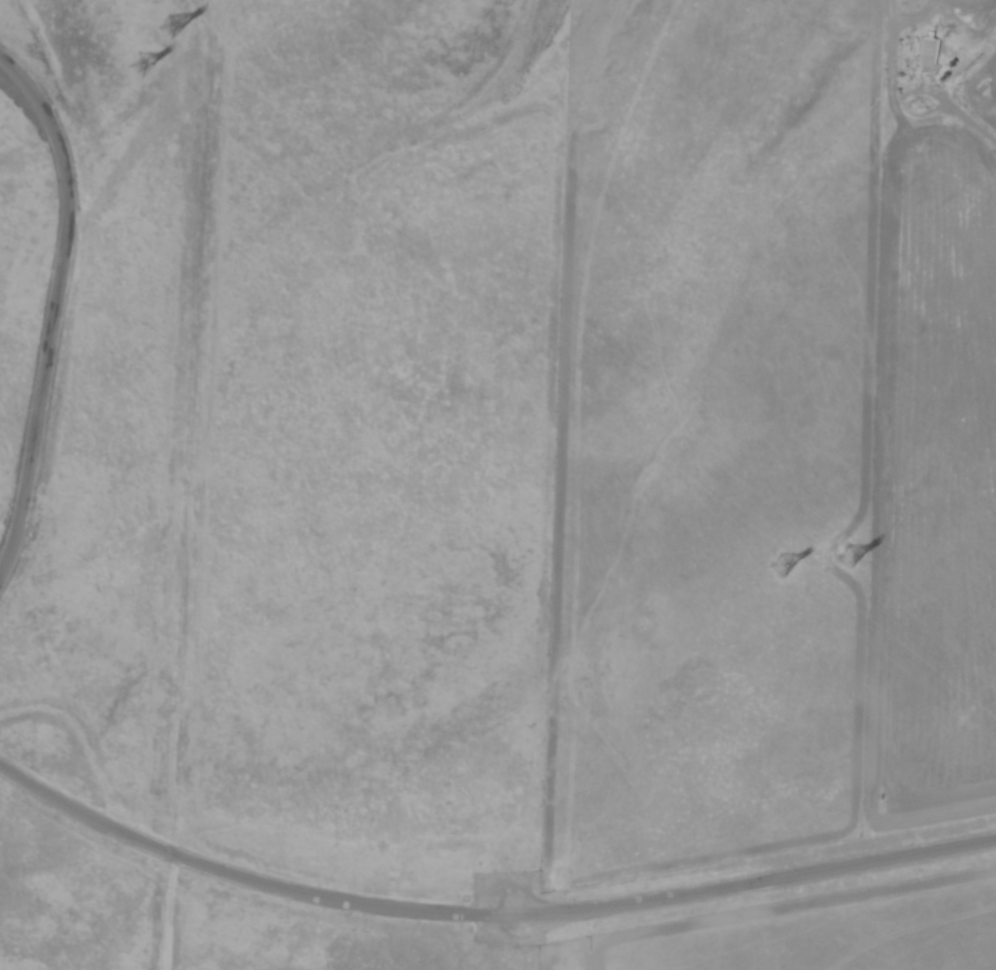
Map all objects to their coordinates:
power tower: (171, 30)
building: (917, 48)
power tower: (142, 67)
road: (57, 304)
park: (272, 481)
power tower: (853, 560)
power tower: (787, 574)
road: (485, 921)

